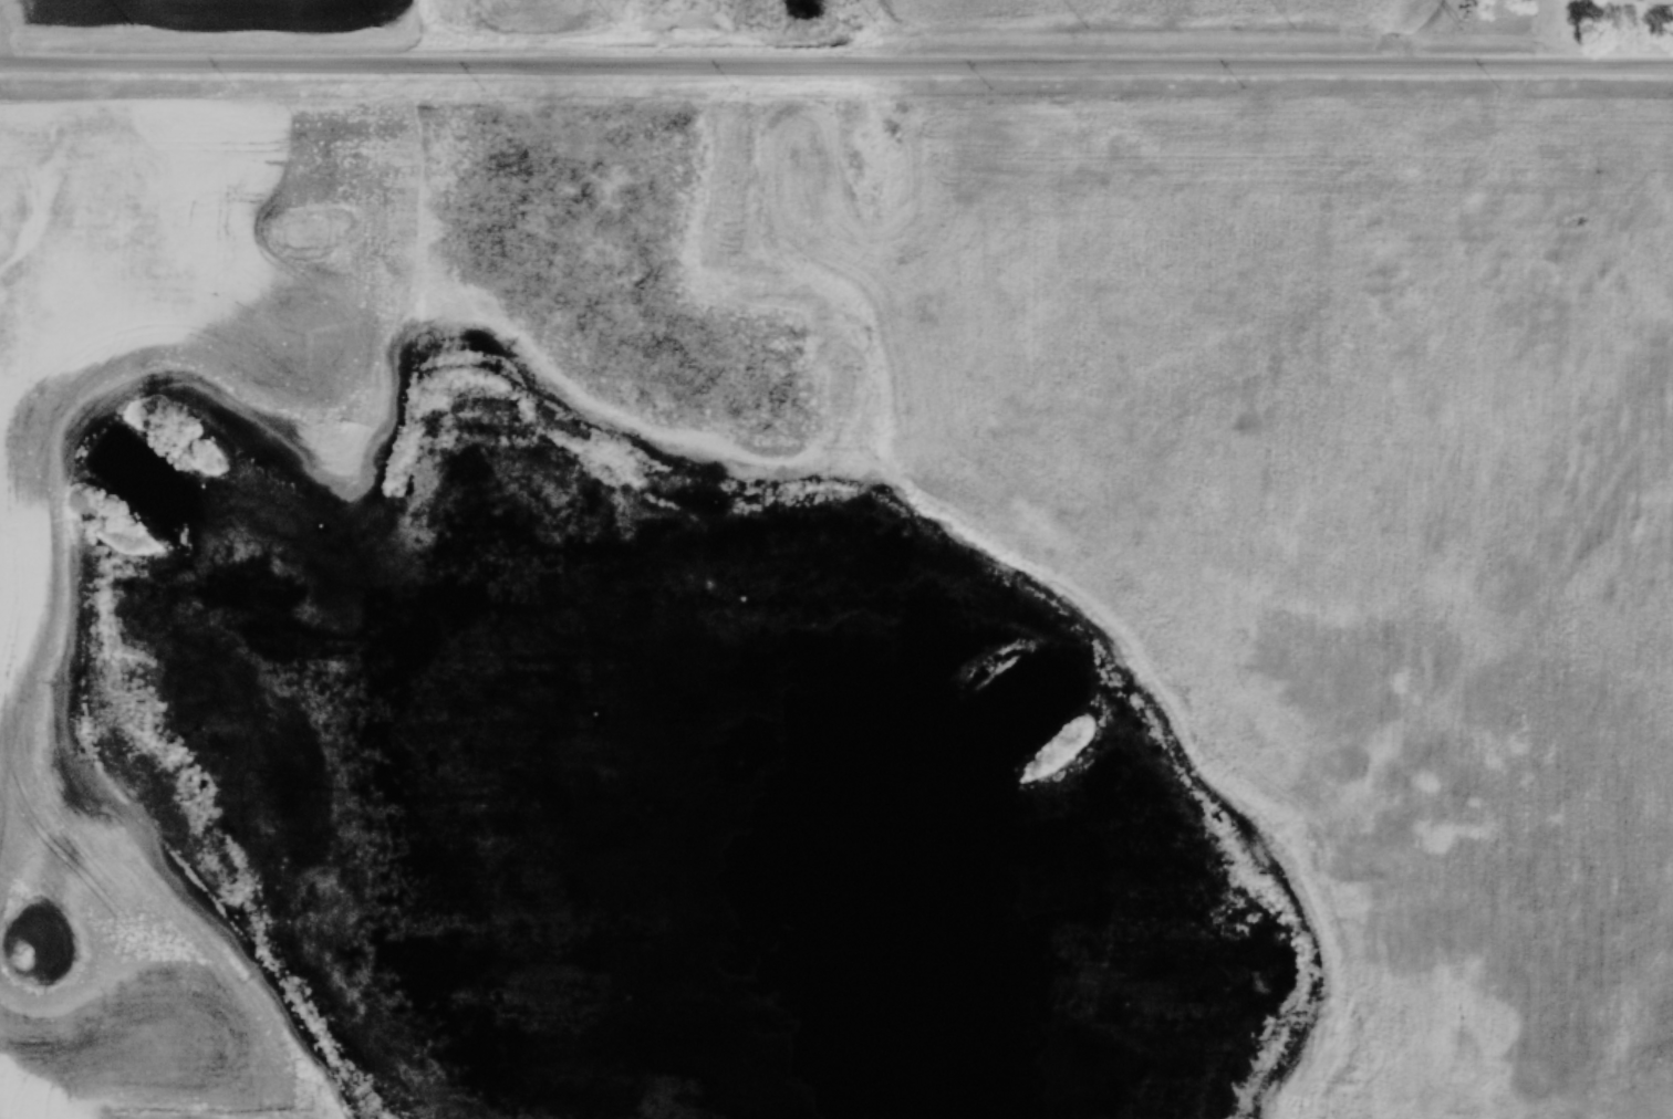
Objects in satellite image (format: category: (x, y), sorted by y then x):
building: (1649, 1)
road: (836, 63)

